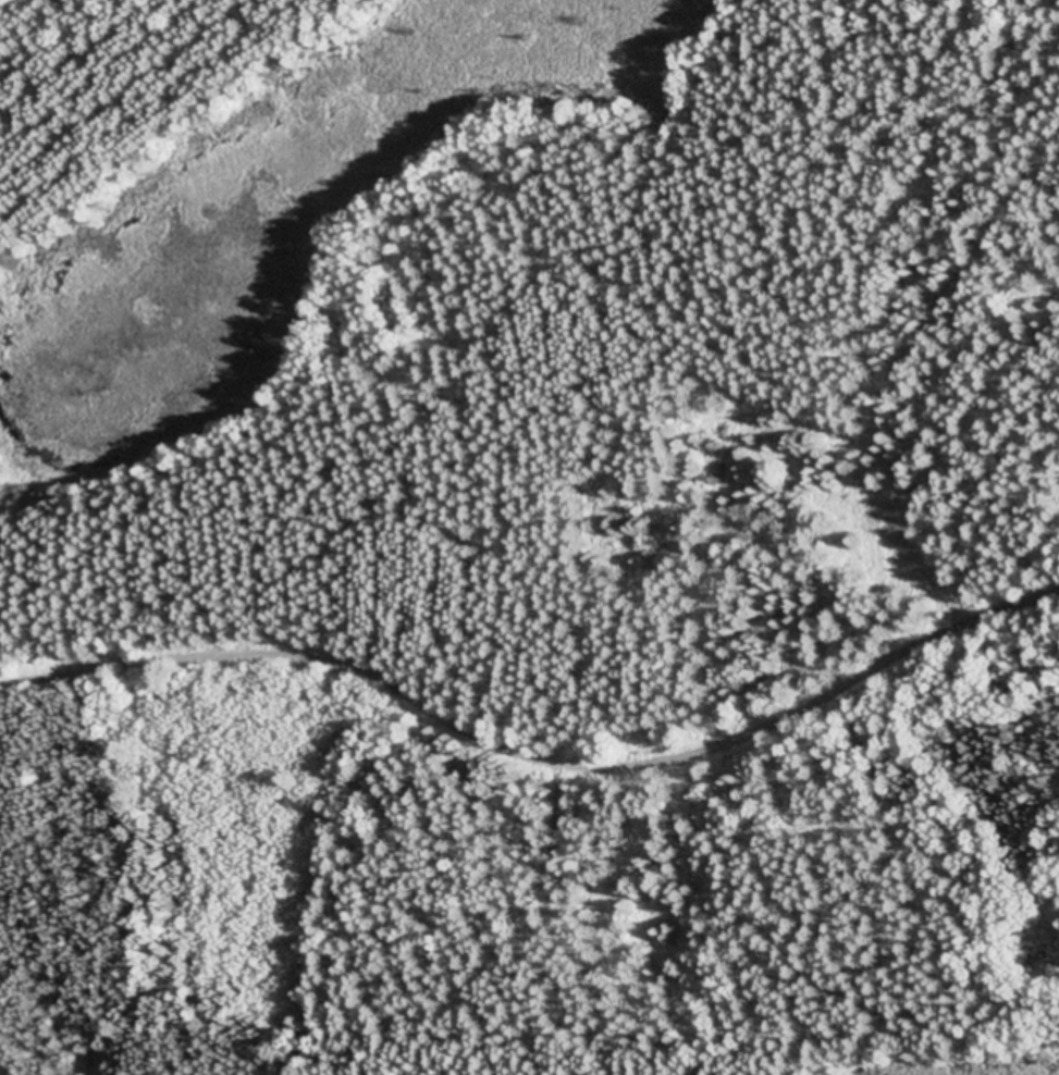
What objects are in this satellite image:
road: (81, 60)
road: (535, 763)

